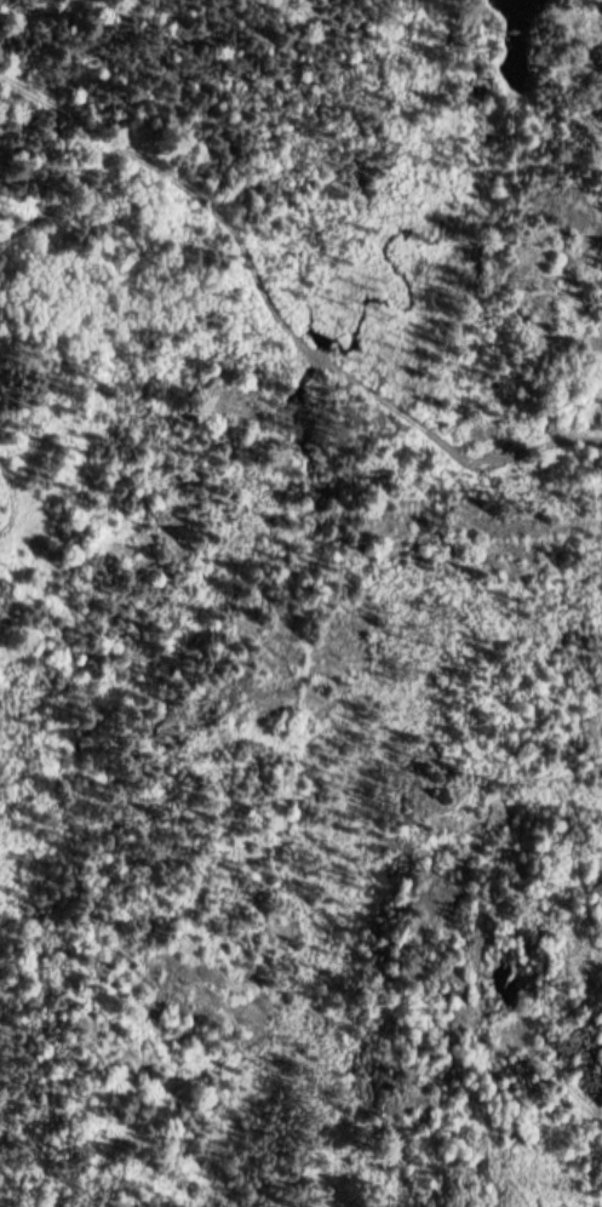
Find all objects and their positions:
road: (65, 189)
road: (283, 291)
road: (7, 491)

